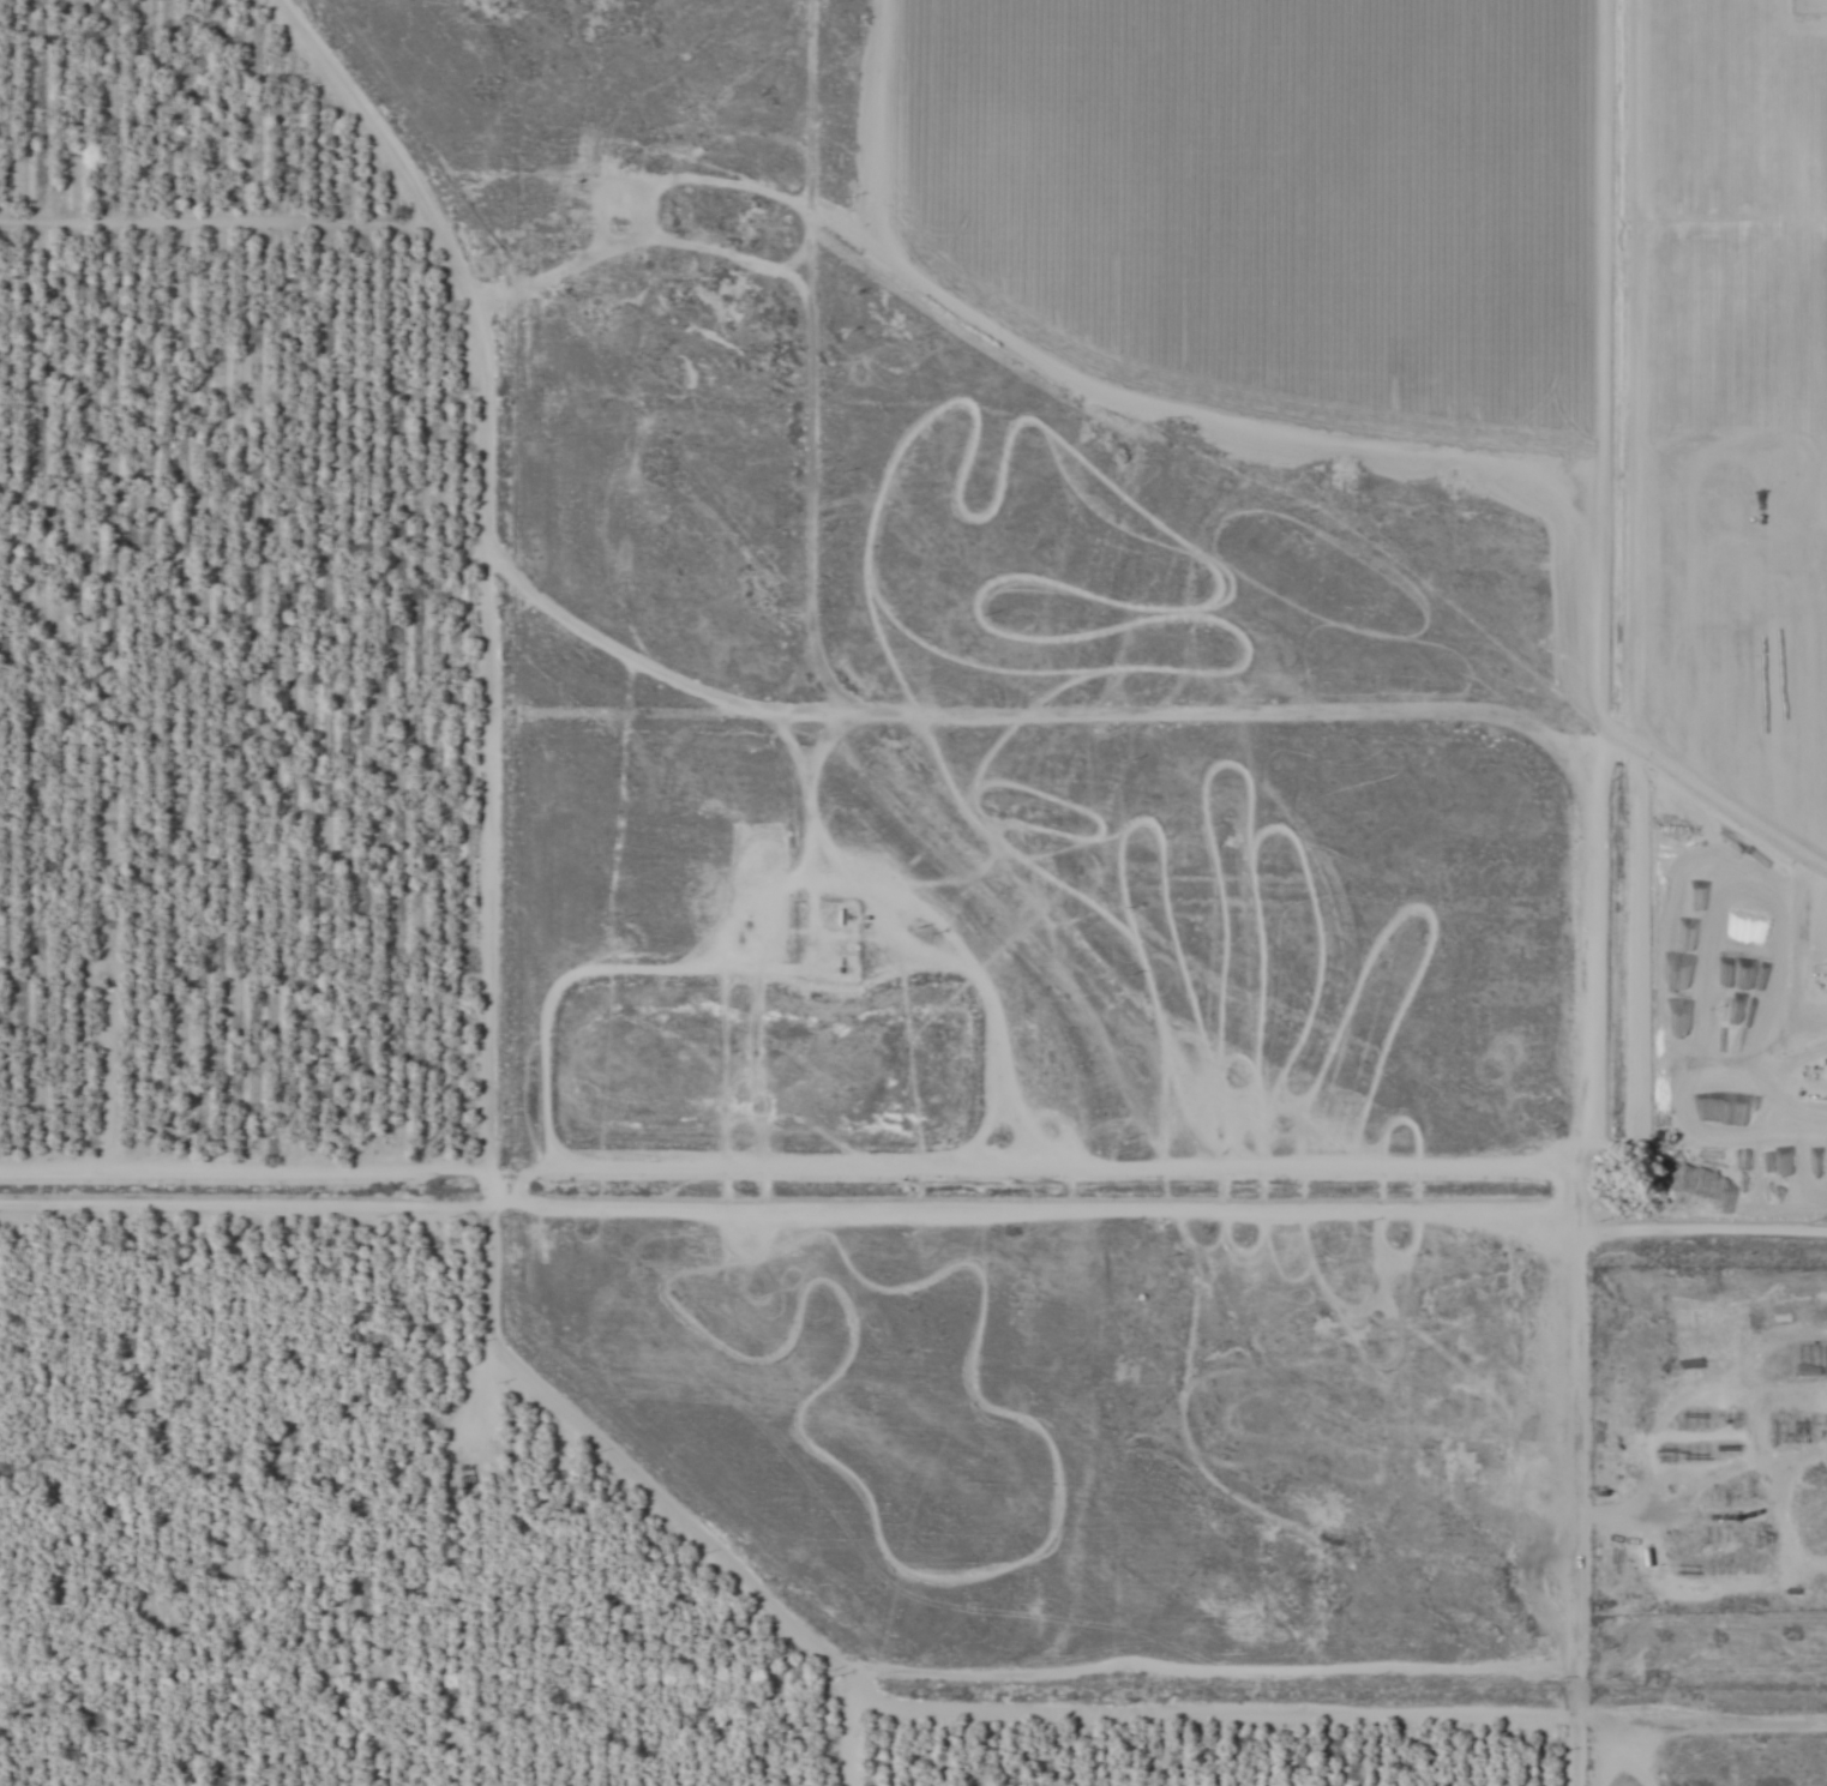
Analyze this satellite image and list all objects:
road: (875, 151)
road: (433, 191)
crop: (913, 892)
road: (1592, 892)
road: (794, 1211)
road: (900, 1706)
road: (1706, 1724)
road: (1634, 1755)

